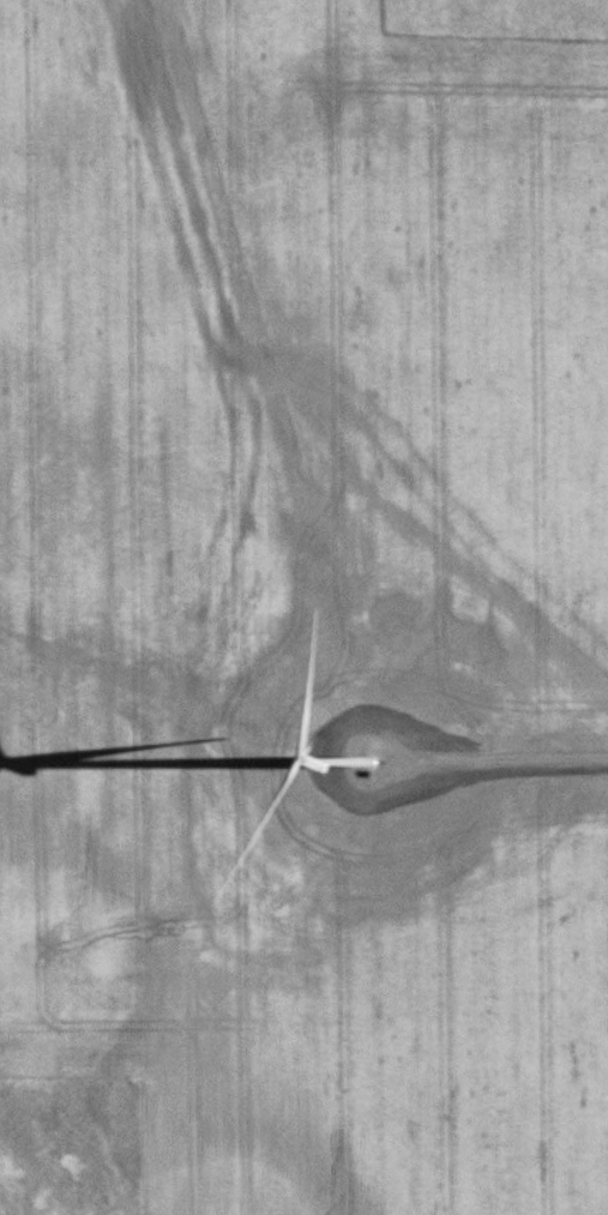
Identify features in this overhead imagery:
wind turbine: (377, 764)

